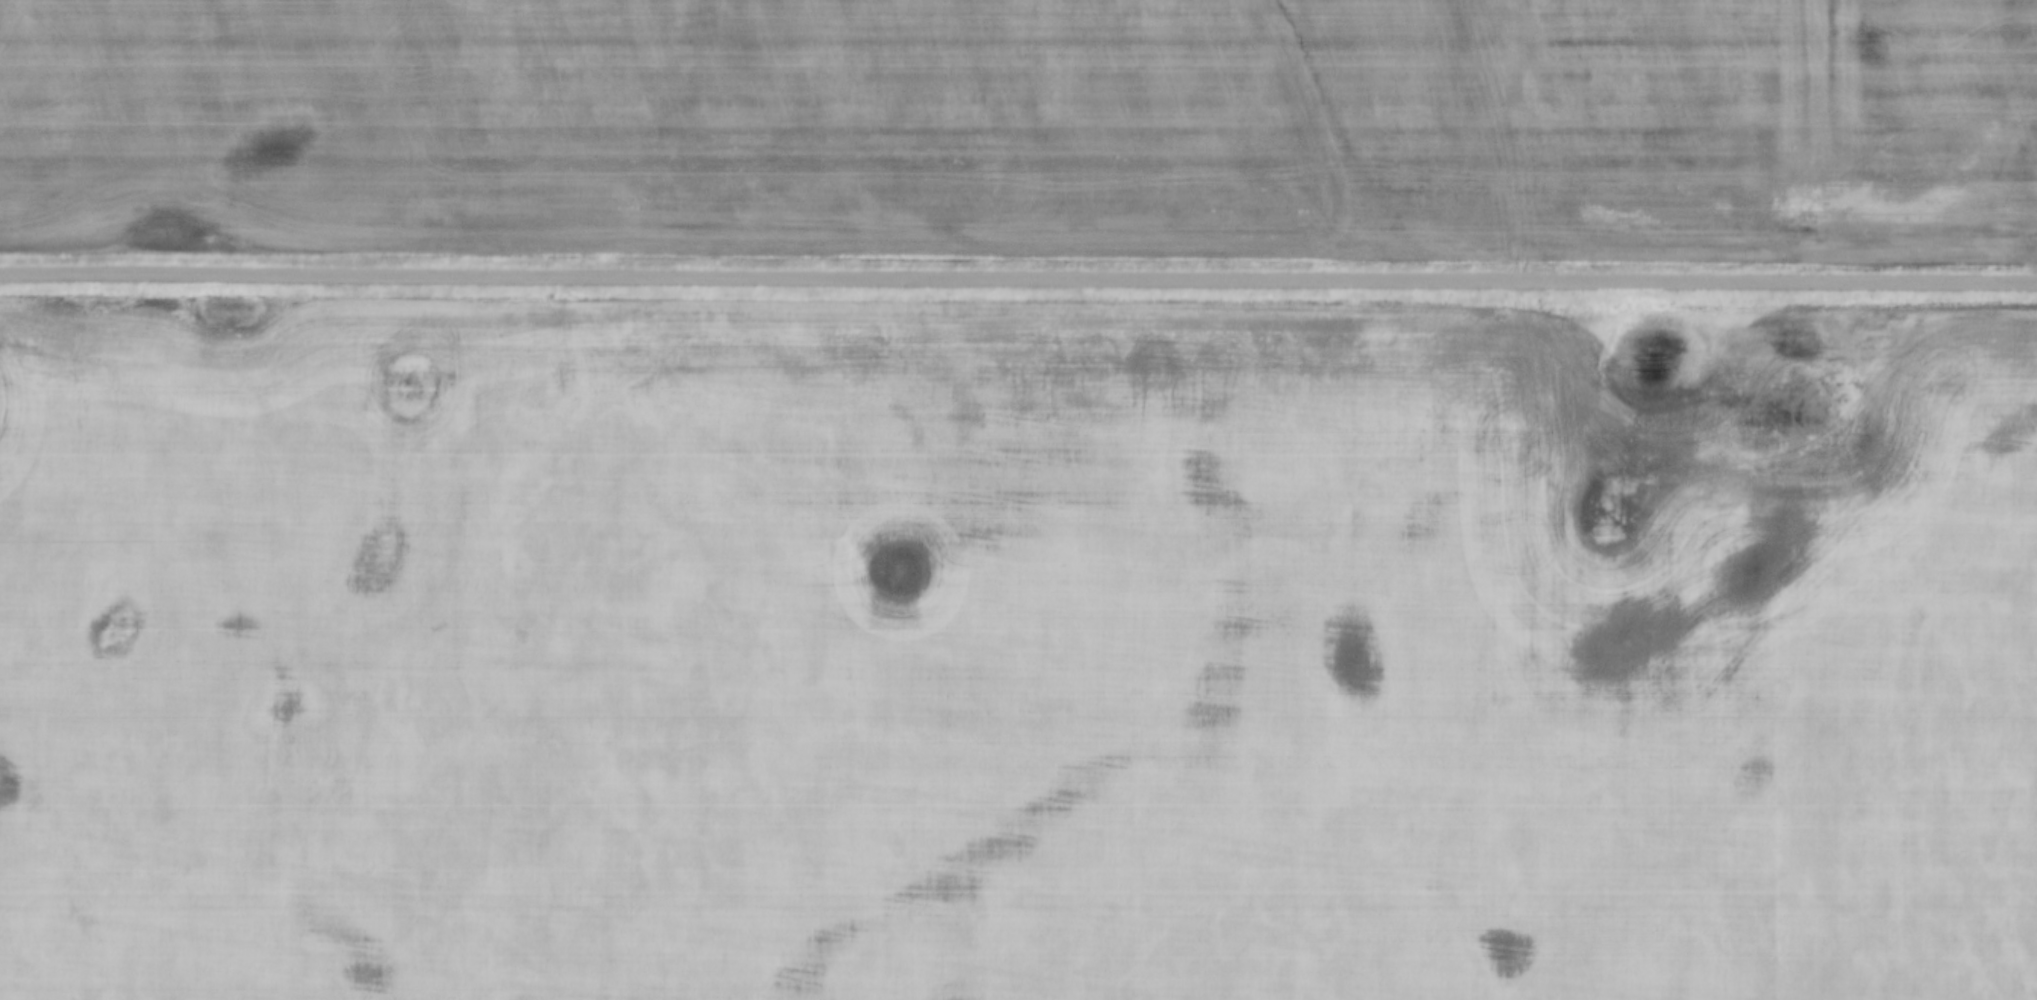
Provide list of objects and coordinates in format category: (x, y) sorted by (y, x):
road: (1018, 280)

